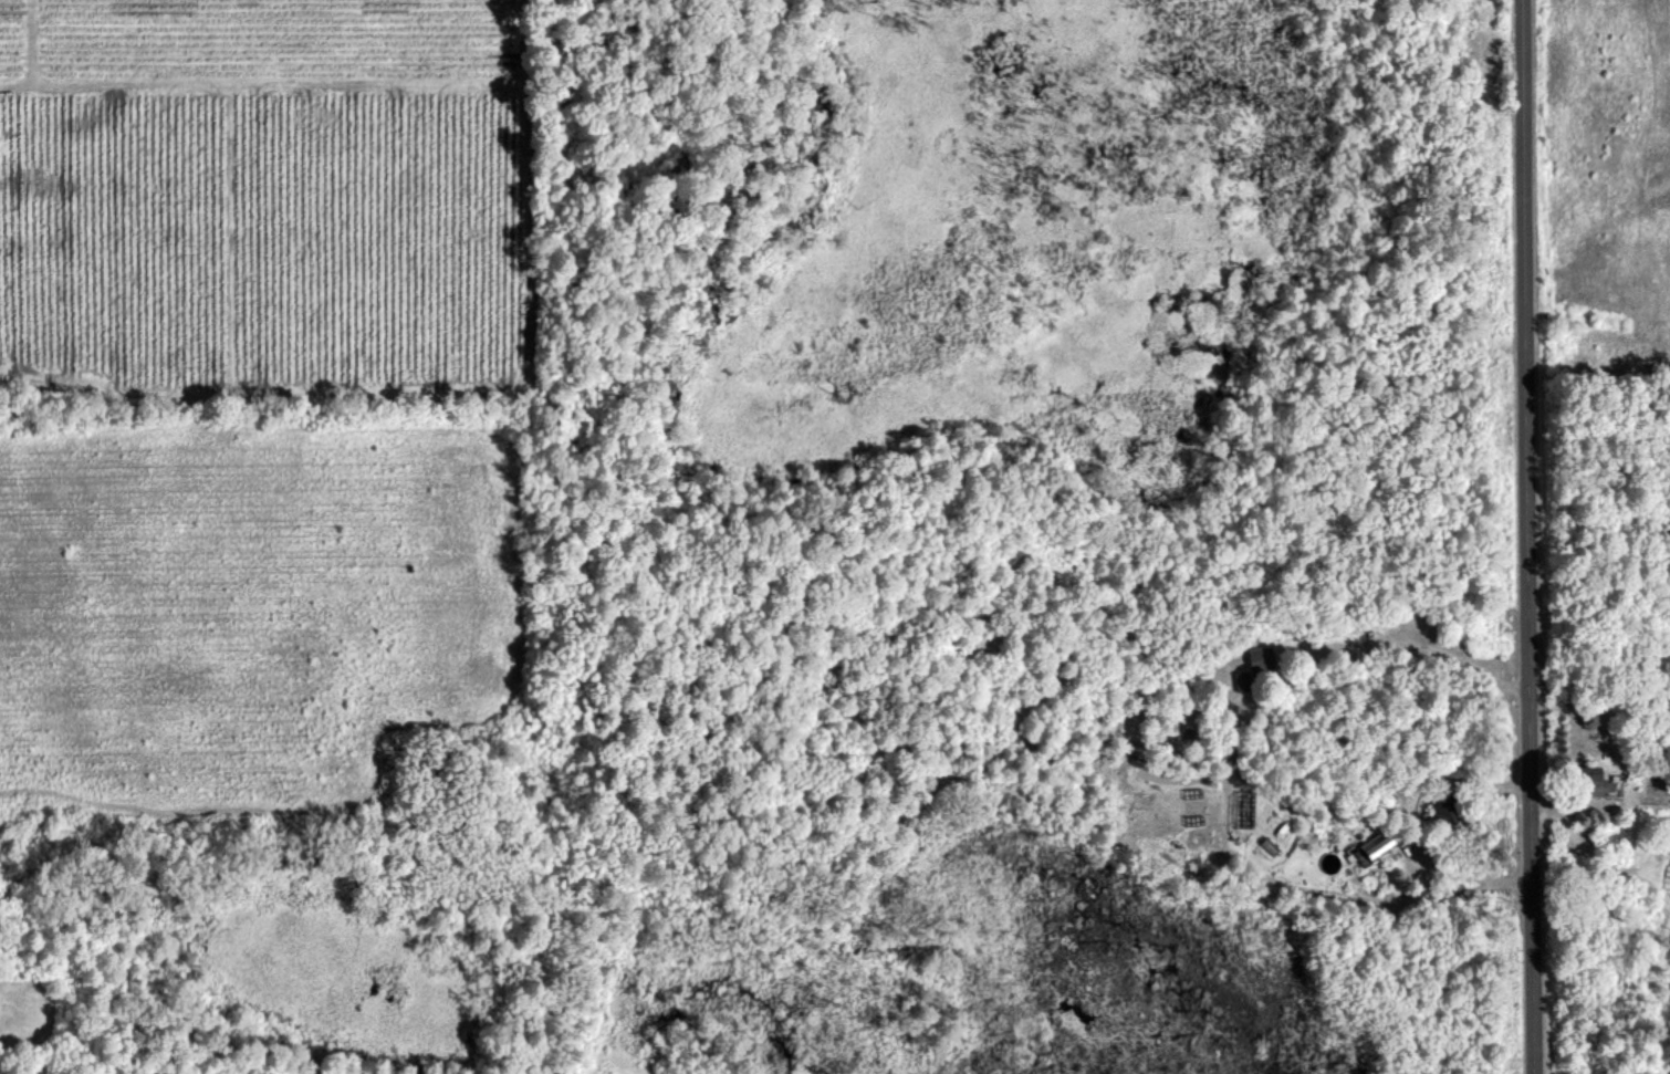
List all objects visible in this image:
road: (1533, 536)
building: (1253, 665)
building: (1590, 782)
building: (1441, 812)
building: (1374, 847)

